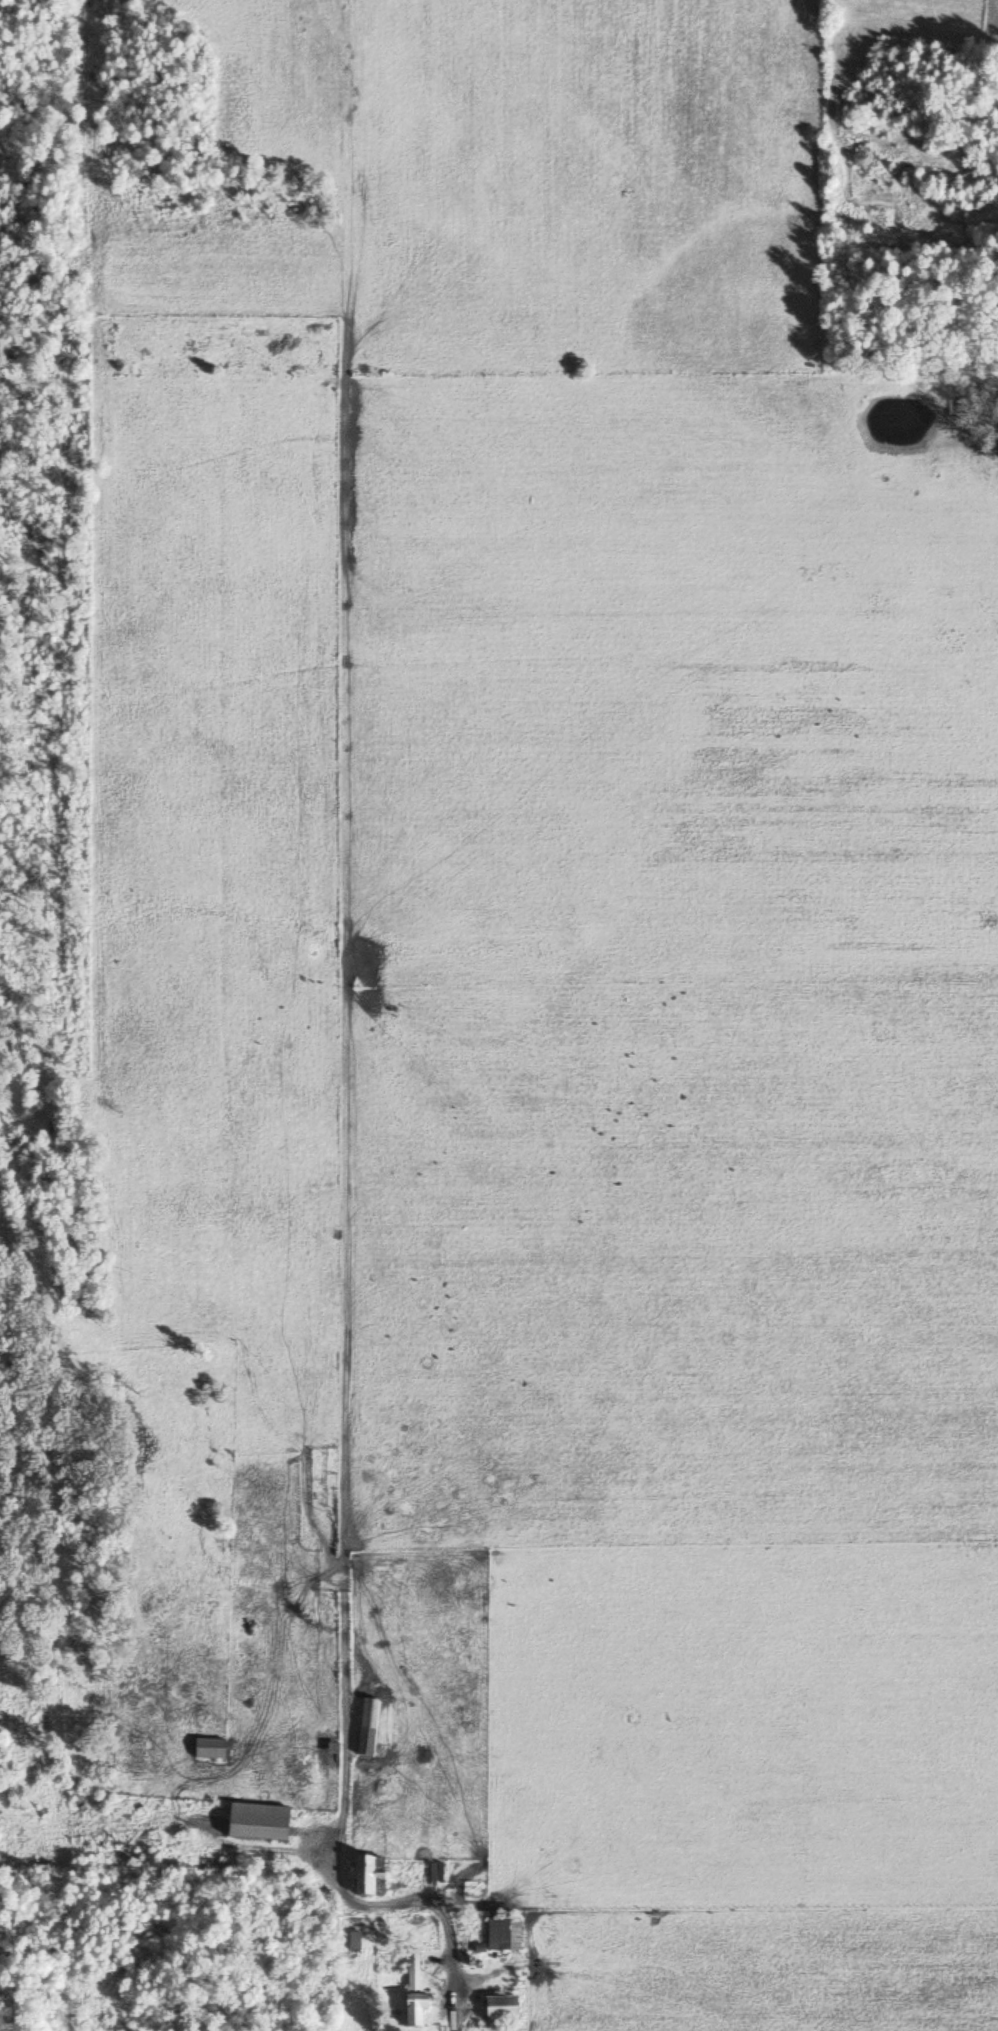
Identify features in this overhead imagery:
building: (365, 1729)
building: (207, 1752)
building: (256, 1824)
building: (367, 1879)
building: (502, 1936)
building: (352, 1943)
building: (412, 1992)
building: (499, 2009)
road: (451, 2011)

